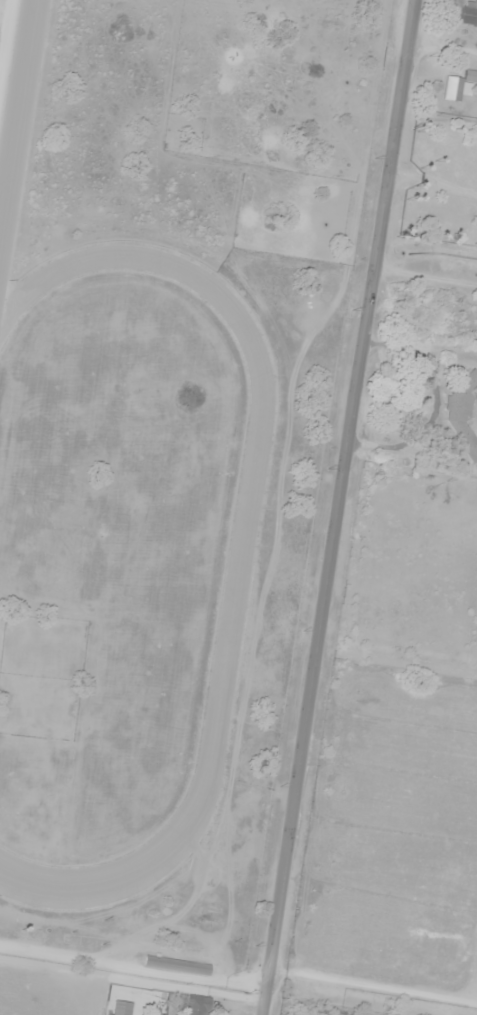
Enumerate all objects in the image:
building: (468, 13)
road: (4, 27)
building: (459, 87)
building: (460, 411)
road: (340, 507)
road: (403, 585)
building: (177, 966)
road: (133, 968)
building: (198, 1005)

